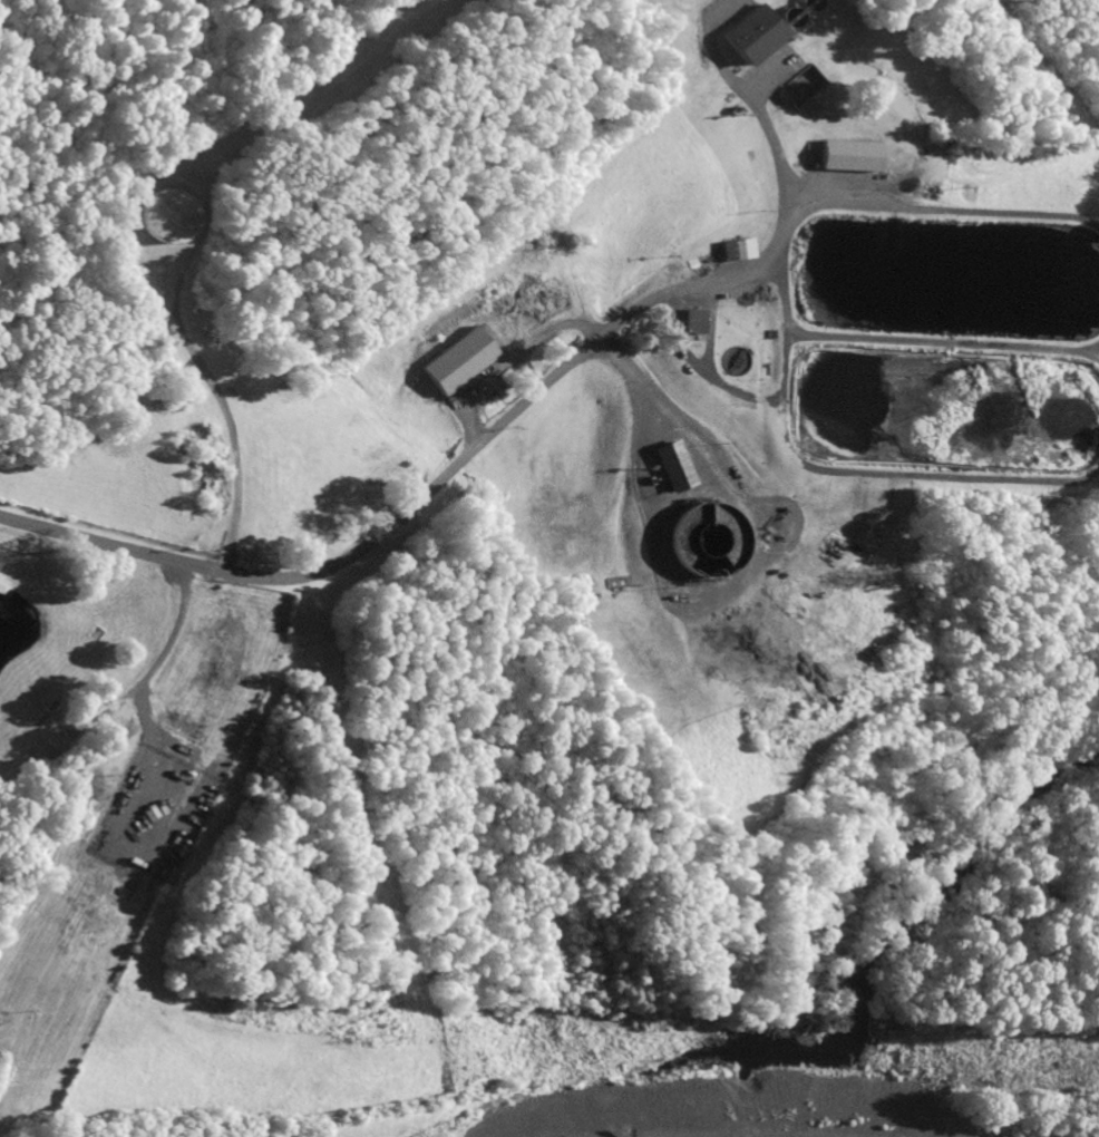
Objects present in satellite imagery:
building: (755, 32)
building: (853, 155)
building: (158, 217)
water tower: (162, 218)
road: (788, 234)
road: (189, 239)
building: (739, 249)
building: (694, 319)
building: (461, 358)
building: (675, 465)
road: (417, 502)
building: (706, 538)

